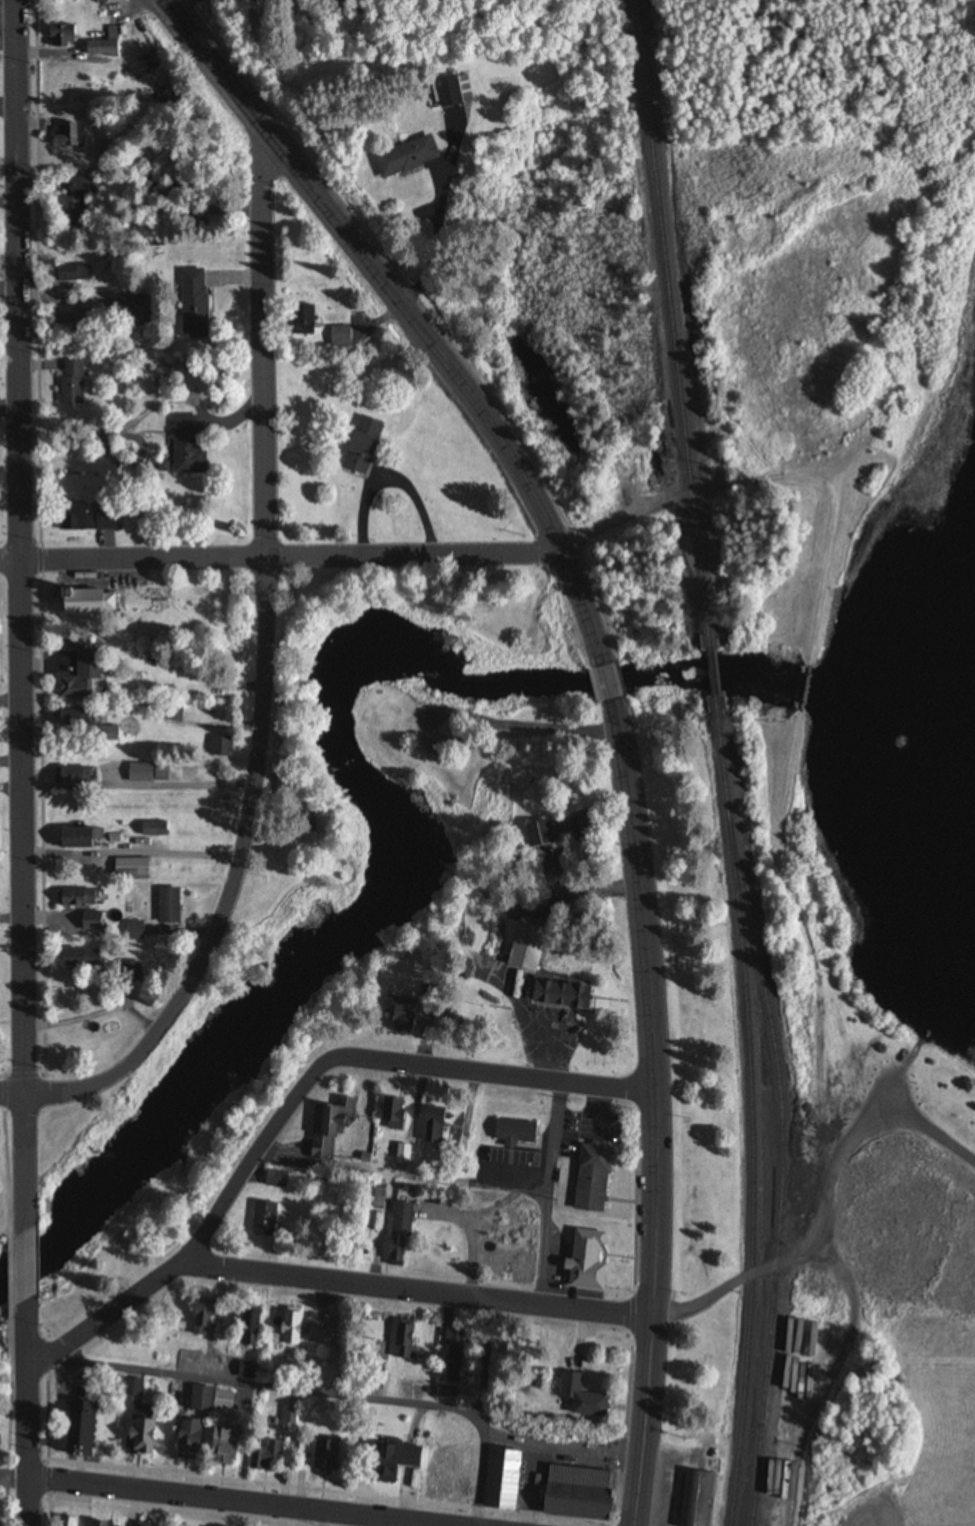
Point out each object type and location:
building: (294, 8)
building: (63, 35)
building: (104, 45)
building: (451, 91)
building: (71, 136)
building: (404, 157)
building: (150, 183)
building: (72, 203)
building: (72, 273)
building: (192, 300)
road: (412, 317)
building: (299, 320)
railway: (673, 325)
building: (339, 336)
building: (70, 383)
building: (186, 445)
building: (360, 445)
building: (66, 512)
building: (106, 519)
road: (351, 556)
building: (83, 602)
road: (21, 615)
road: (263, 668)
river: (893, 672)
railway: (710, 673)
building: (81, 677)
road: (608, 683)
dam: (799, 691)
building: (168, 714)
building: (70, 718)
road: (531, 730)
building: (102, 734)
building: (219, 747)
park: (796, 755)
building: (145, 773)
building: (74, 777)
building: (304, 823)
river: (395, 827)
building: (153, 830)
building: (537, 836)
building: (73, 839)
building: (129, 869)
building: (70, 899)
park: (313, 899)
building: (167, 906)
building: (89, 921)
building: (133, 931)
building: (524, 948)
building: (75, 958)
building: (558, 995)
building: (400, 1015)
road: (12, 1096)
road: (295, 1100)
railway: (753, 1110)
road: (658, 1112)
building: (395, 1114)
road: (602, 1114)
building: (434, 1125)
building: (329, 1127)
parking lot: (588, 1131)
building: (519, 1132)
railway: (783, 1164)
parking lot: (514, 1165)
road: (402, 1176)
building: (597, 1177)
building: (275, 1180)
road: (548, 1195)
building: (263, 1220)
building: (398, 1235)
building: (582, 1263)
road: (28, 1265)
road: (547, 1305)
building: (201, 1319)
building: (289, 1328)
building: (251, 1329)
building: (319, 1331)
building: (369, 1331)
building: (405, 1340)
building: (187, 1363)
road: (315, 1392)
building: (579, 1398)
building: (211, 1401)
road: (30, 1412)
building: (83, 1429)
building: (139, 1430)
building: (187, 1441)
building: (221, 1448)
building: (268, 1457)
building: (325, 1458)
building: (390, 1462)
building: (437, 1486)
building: (545, 1487)
building: (695, 1499)
road: (235, 1502)
building: (766, 1510)
building: (69, 1523)
building: (104, 1525)
building: (141, 1525)

